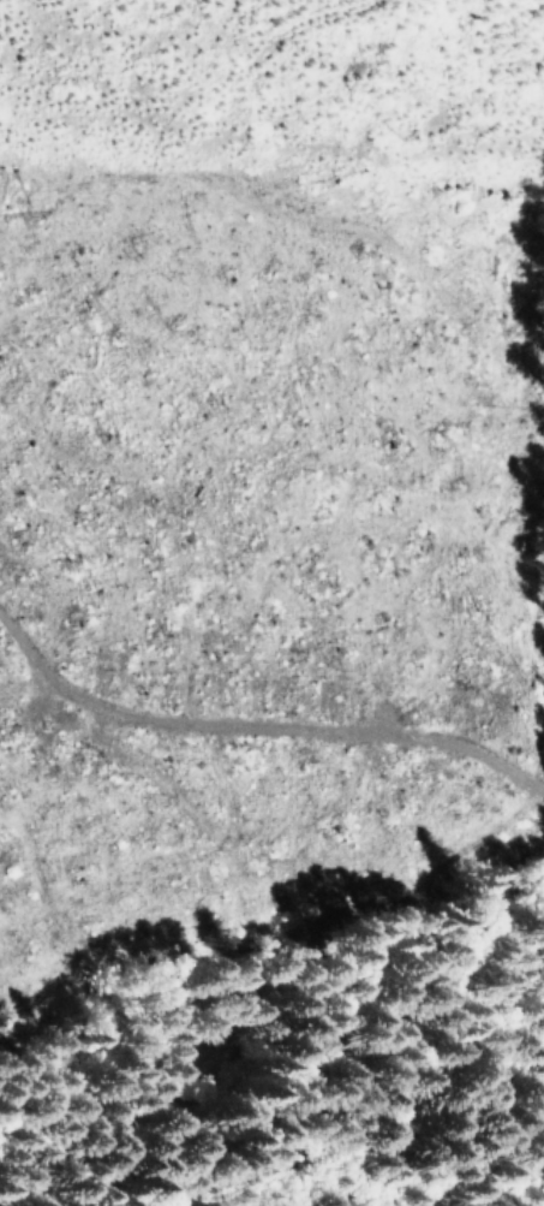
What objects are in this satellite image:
road: (253, 867)
road: (174, 1053)

